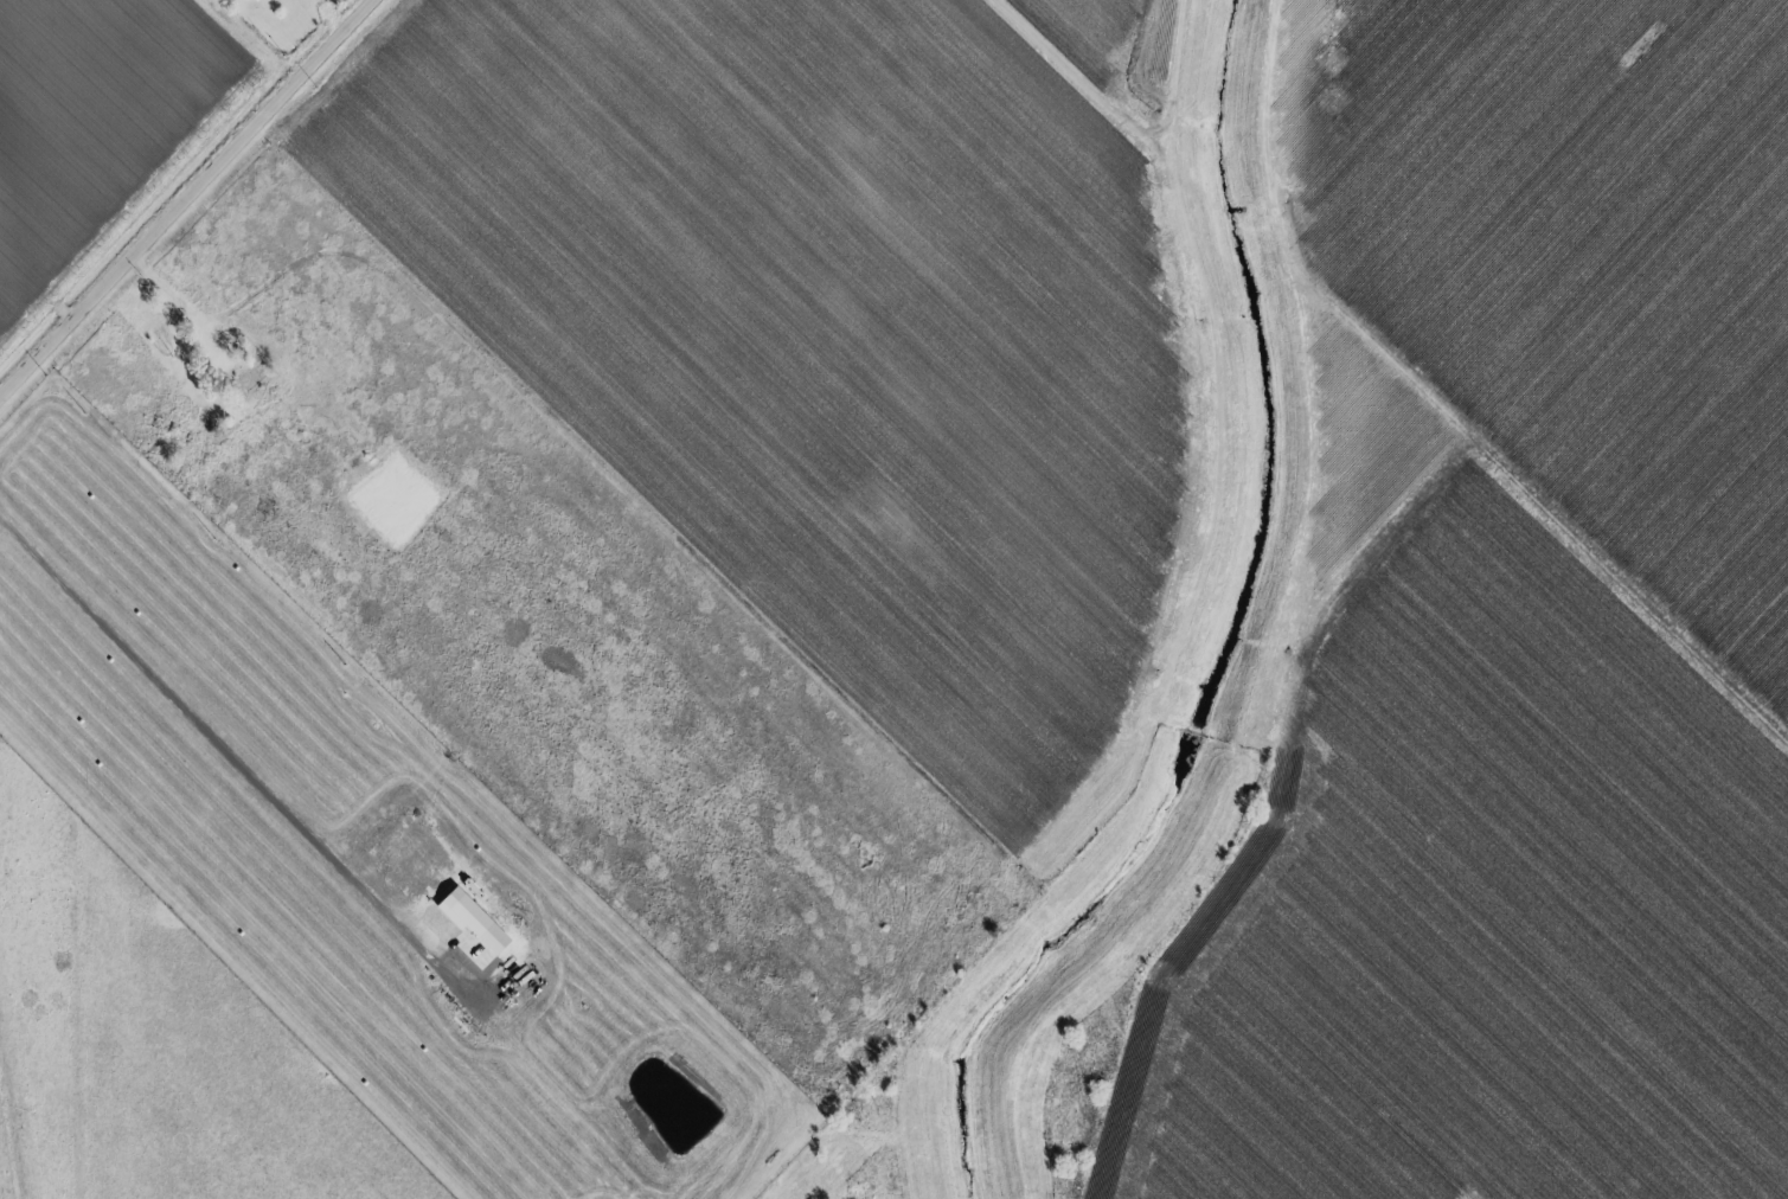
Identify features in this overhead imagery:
road: (187, 201)
road: (1215, 494)
road: (230, 755)

